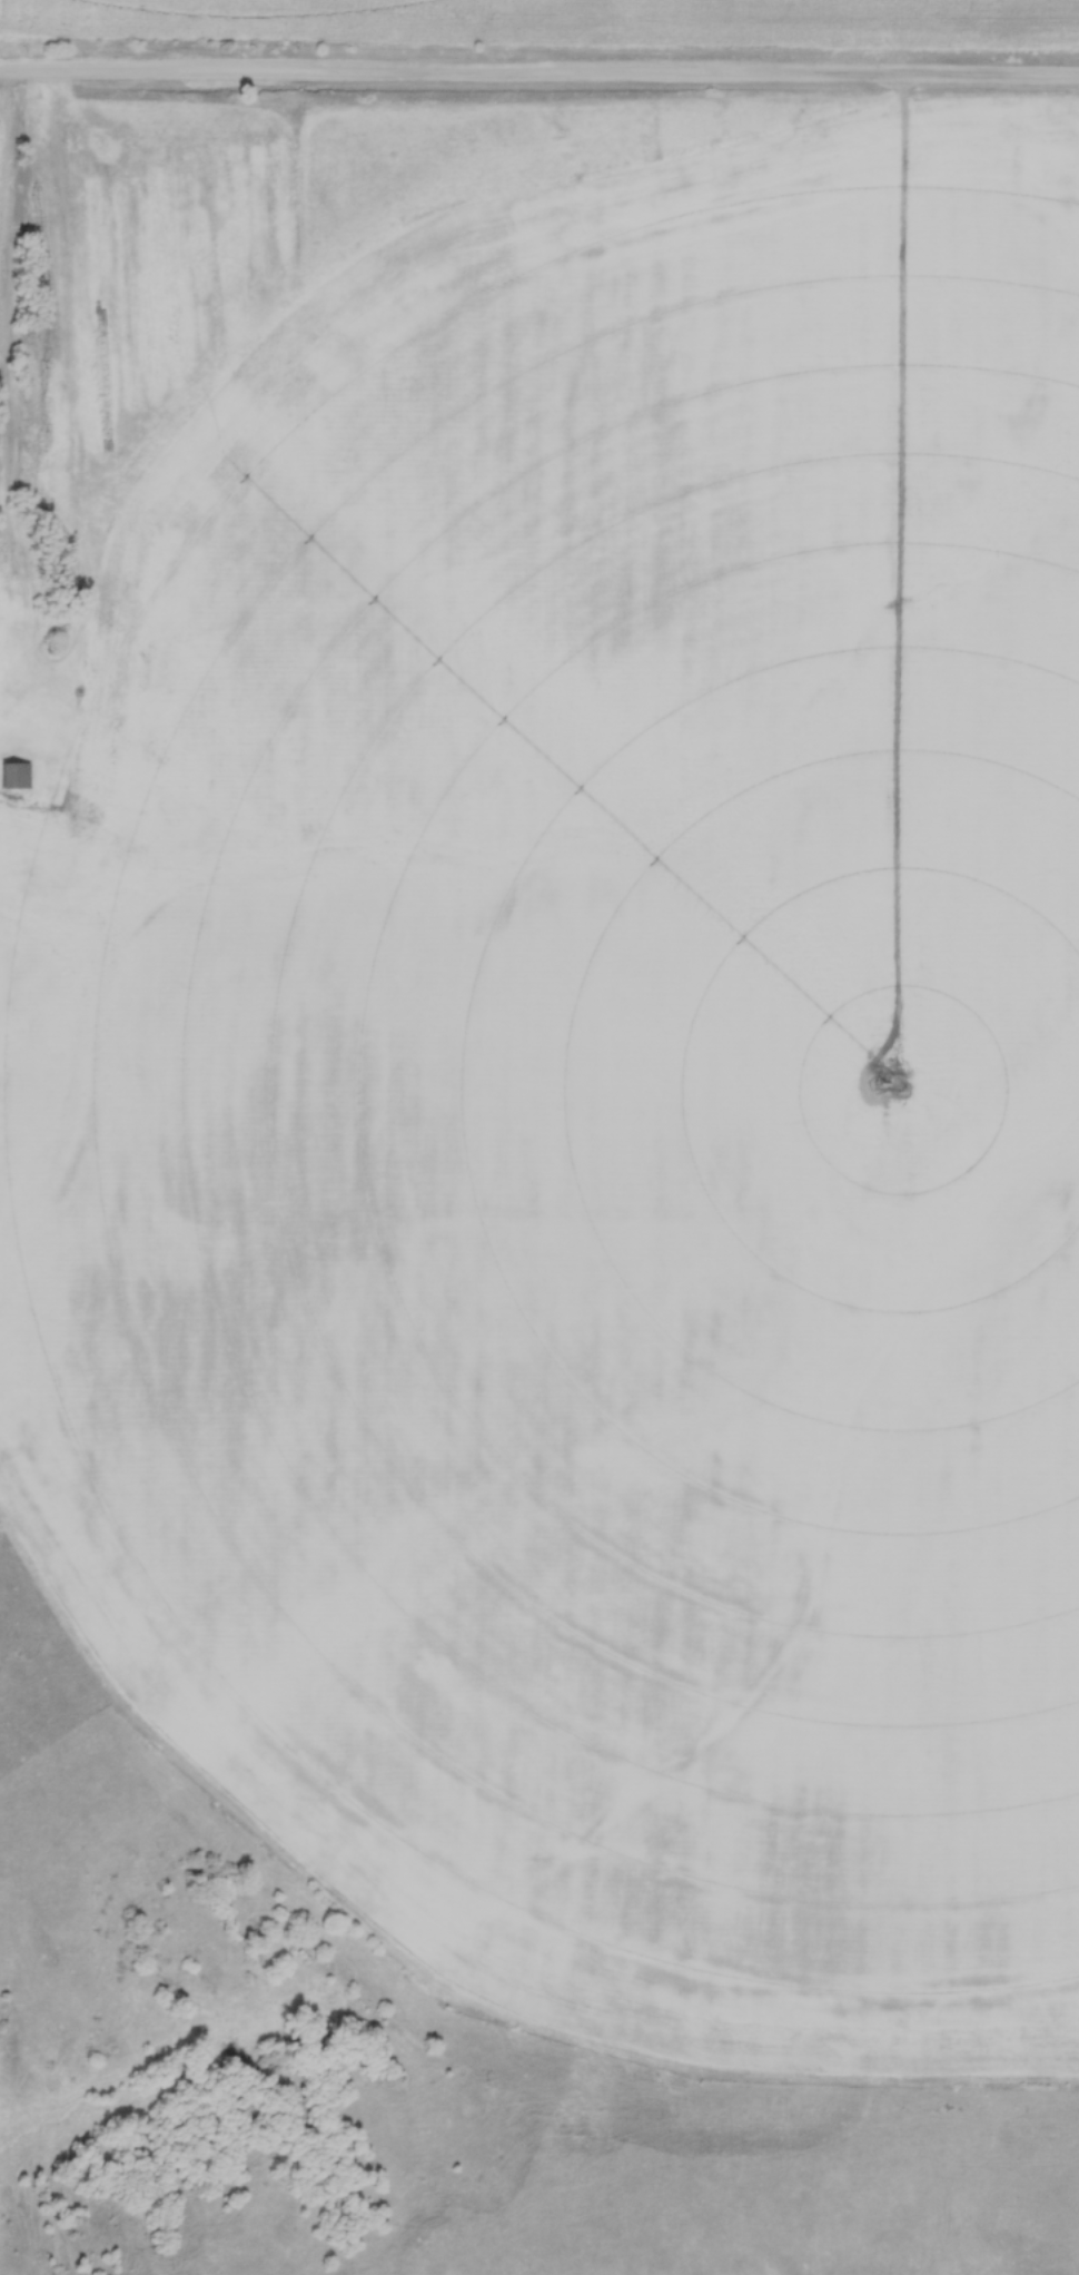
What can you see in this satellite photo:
road: (539, 67)
building: (14, 778)

